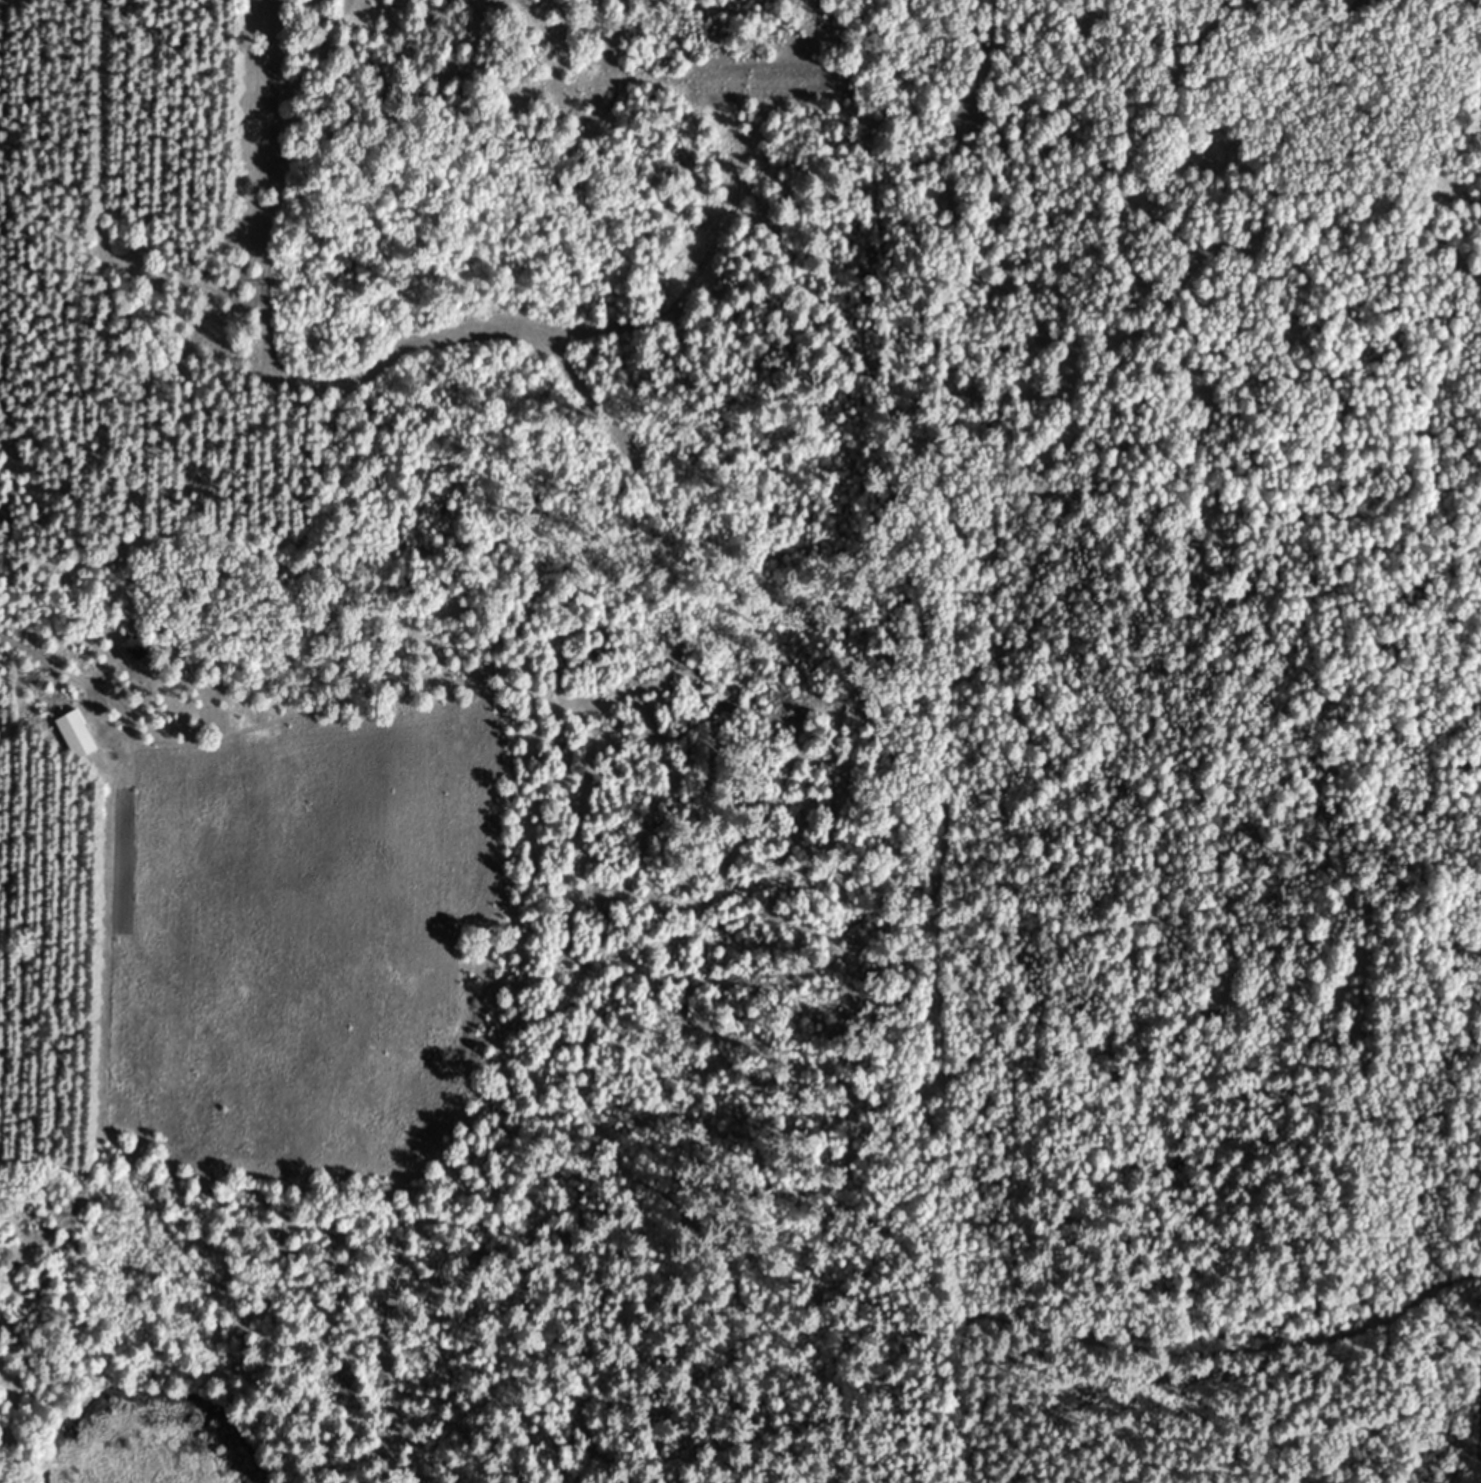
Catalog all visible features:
building: (132, 649)
building: (75, 735)

